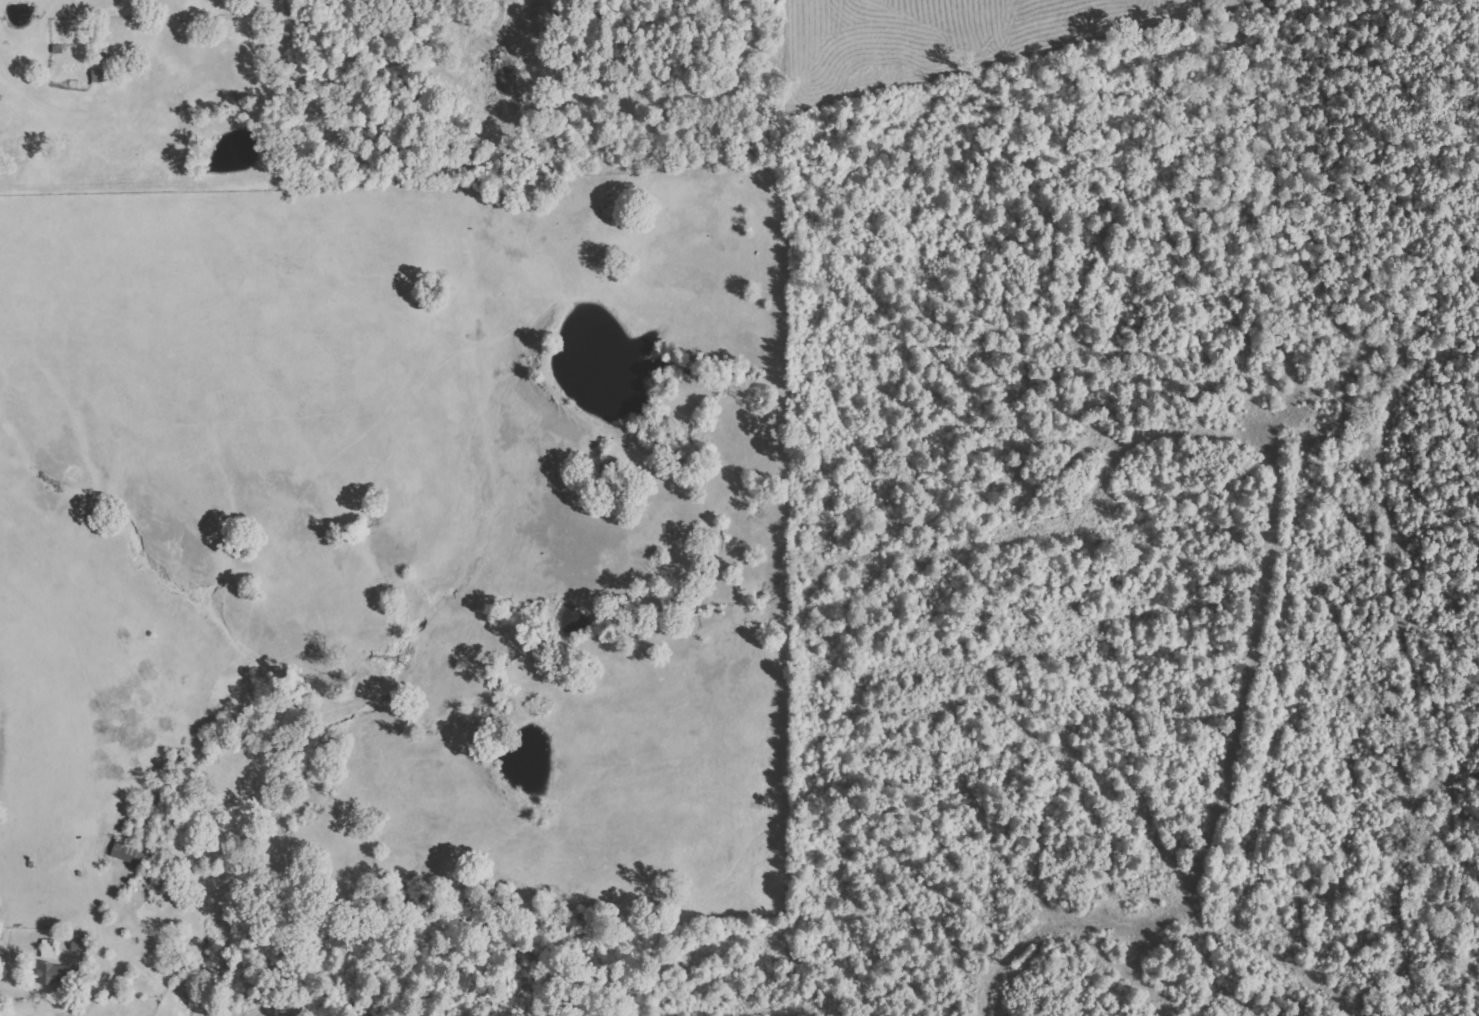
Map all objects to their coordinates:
building: (128, 852)
building: (80, 942)
building: (50, 949)
building: (57, 974)

